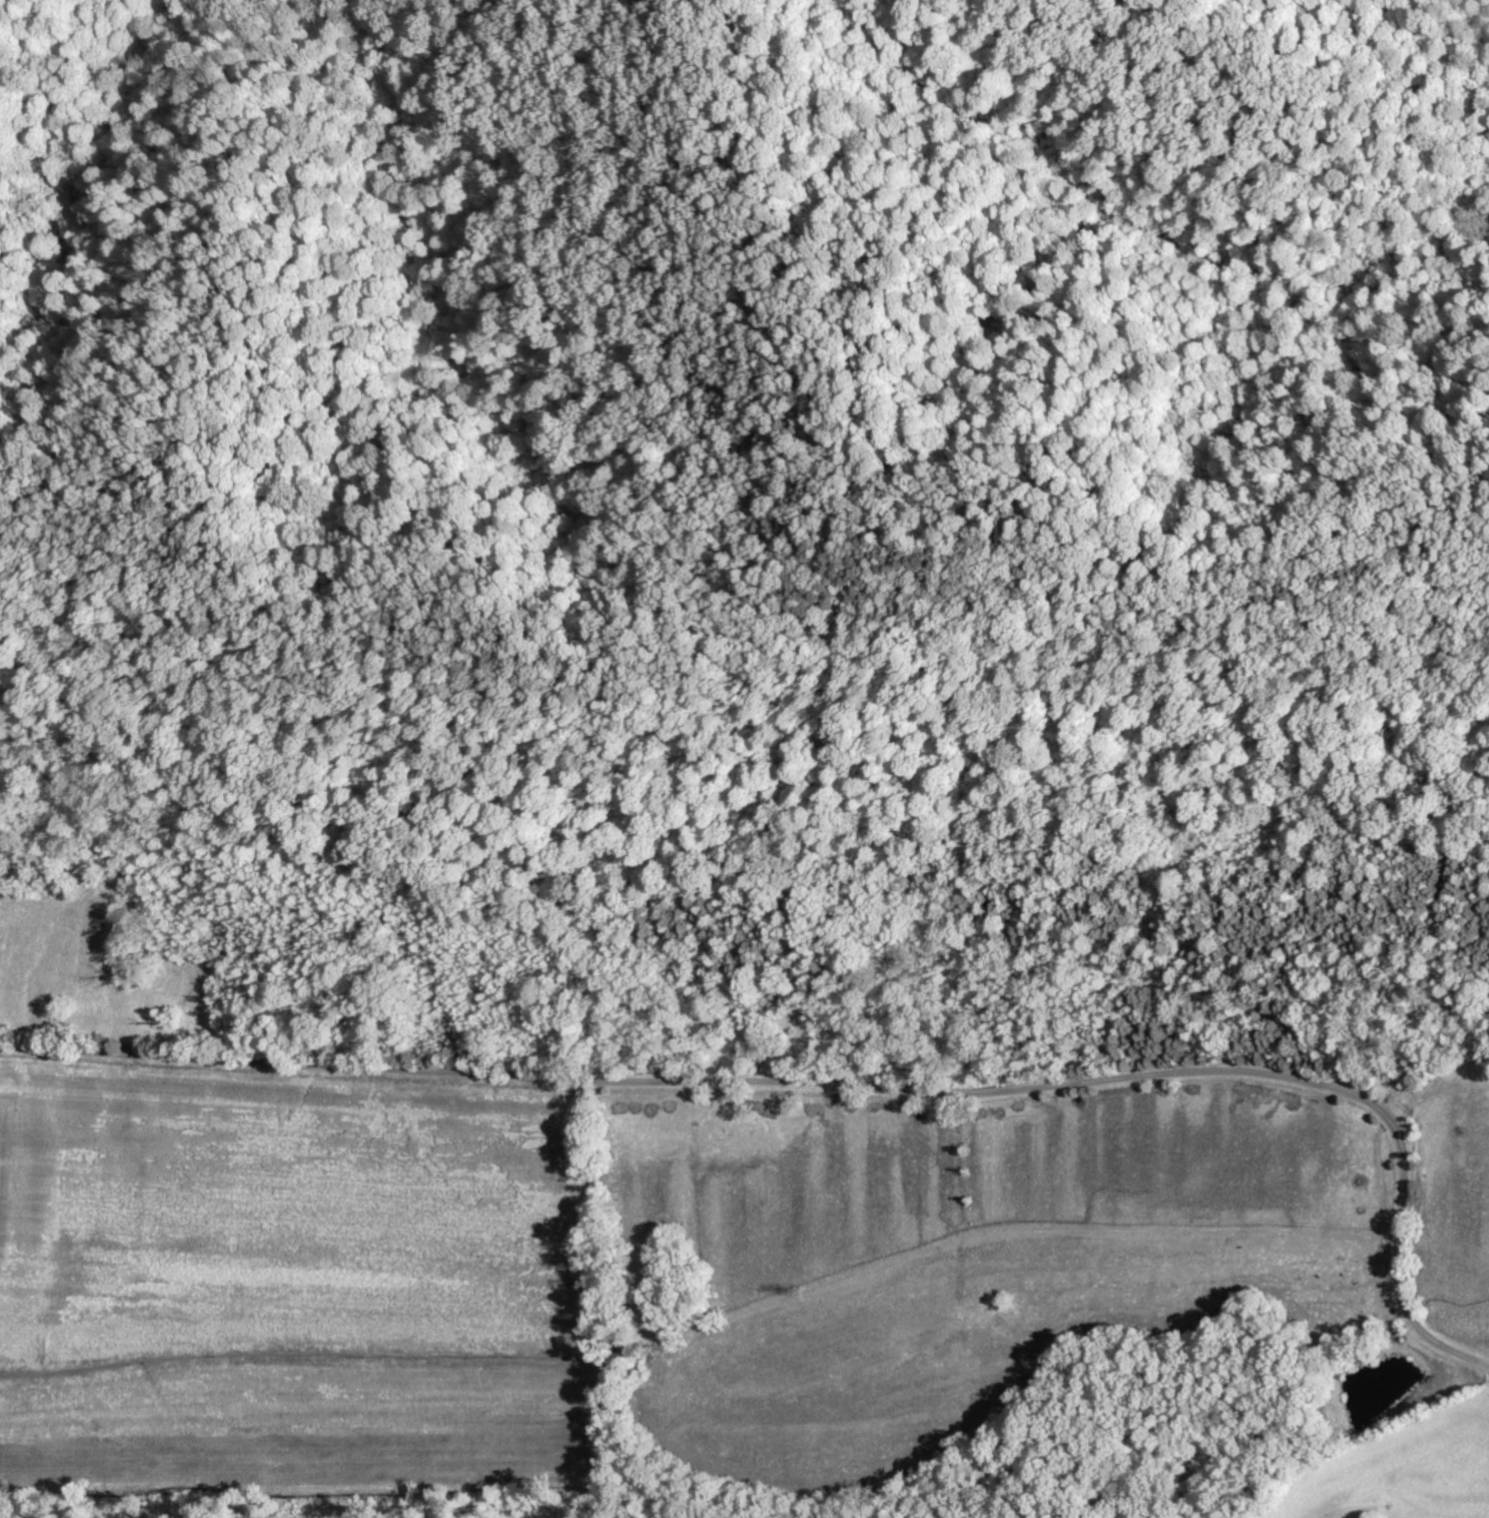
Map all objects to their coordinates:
road: (846, 1086)

